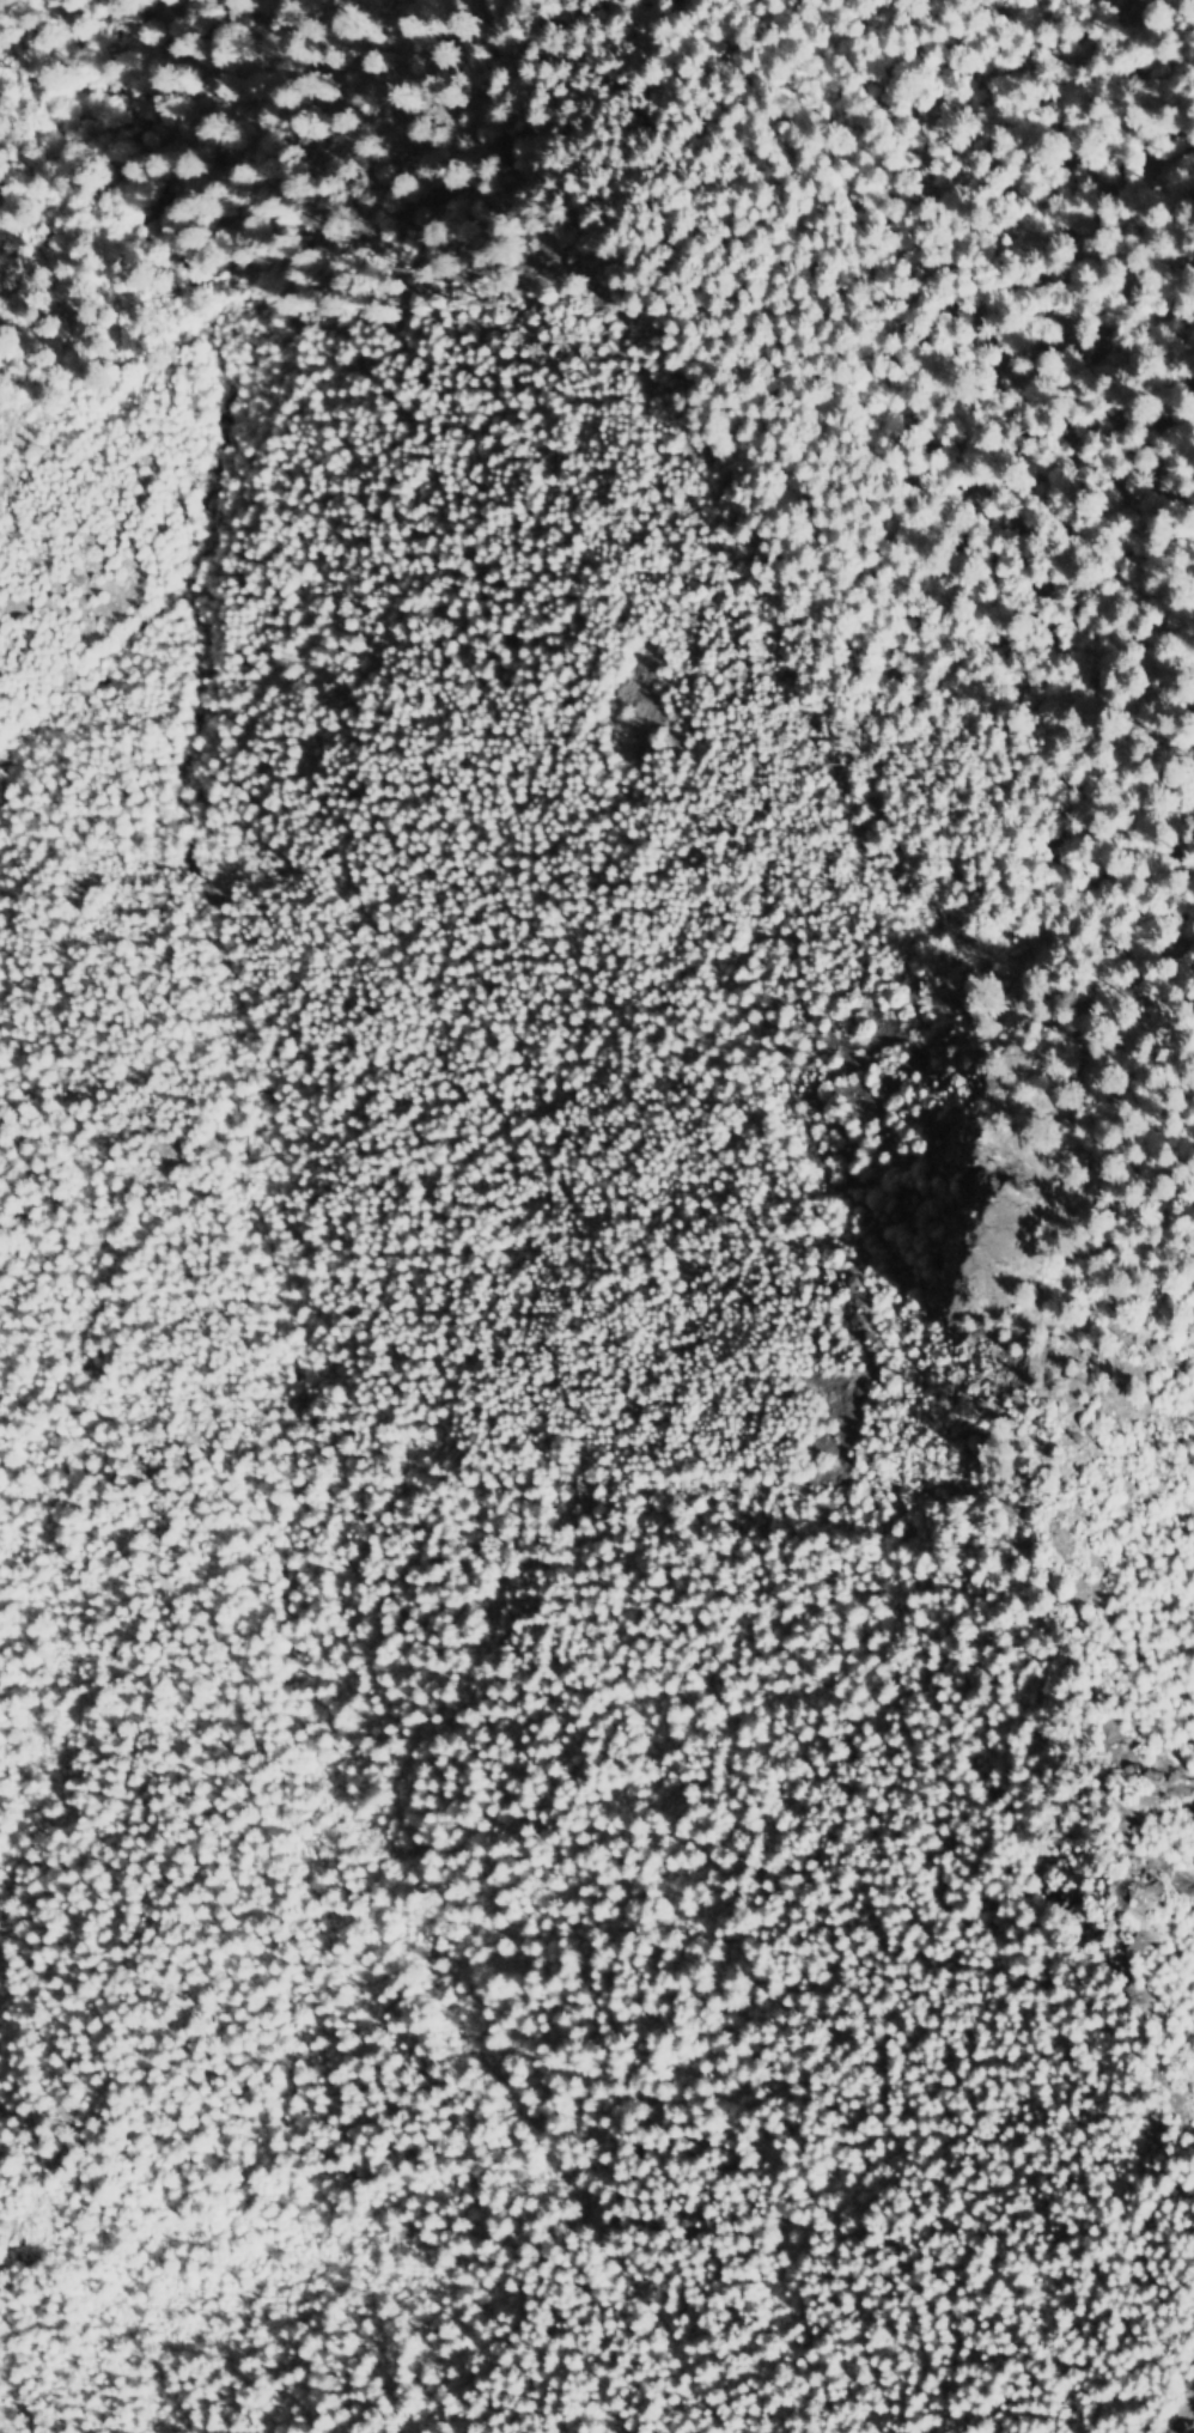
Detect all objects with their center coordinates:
road: (1184, 2420)

